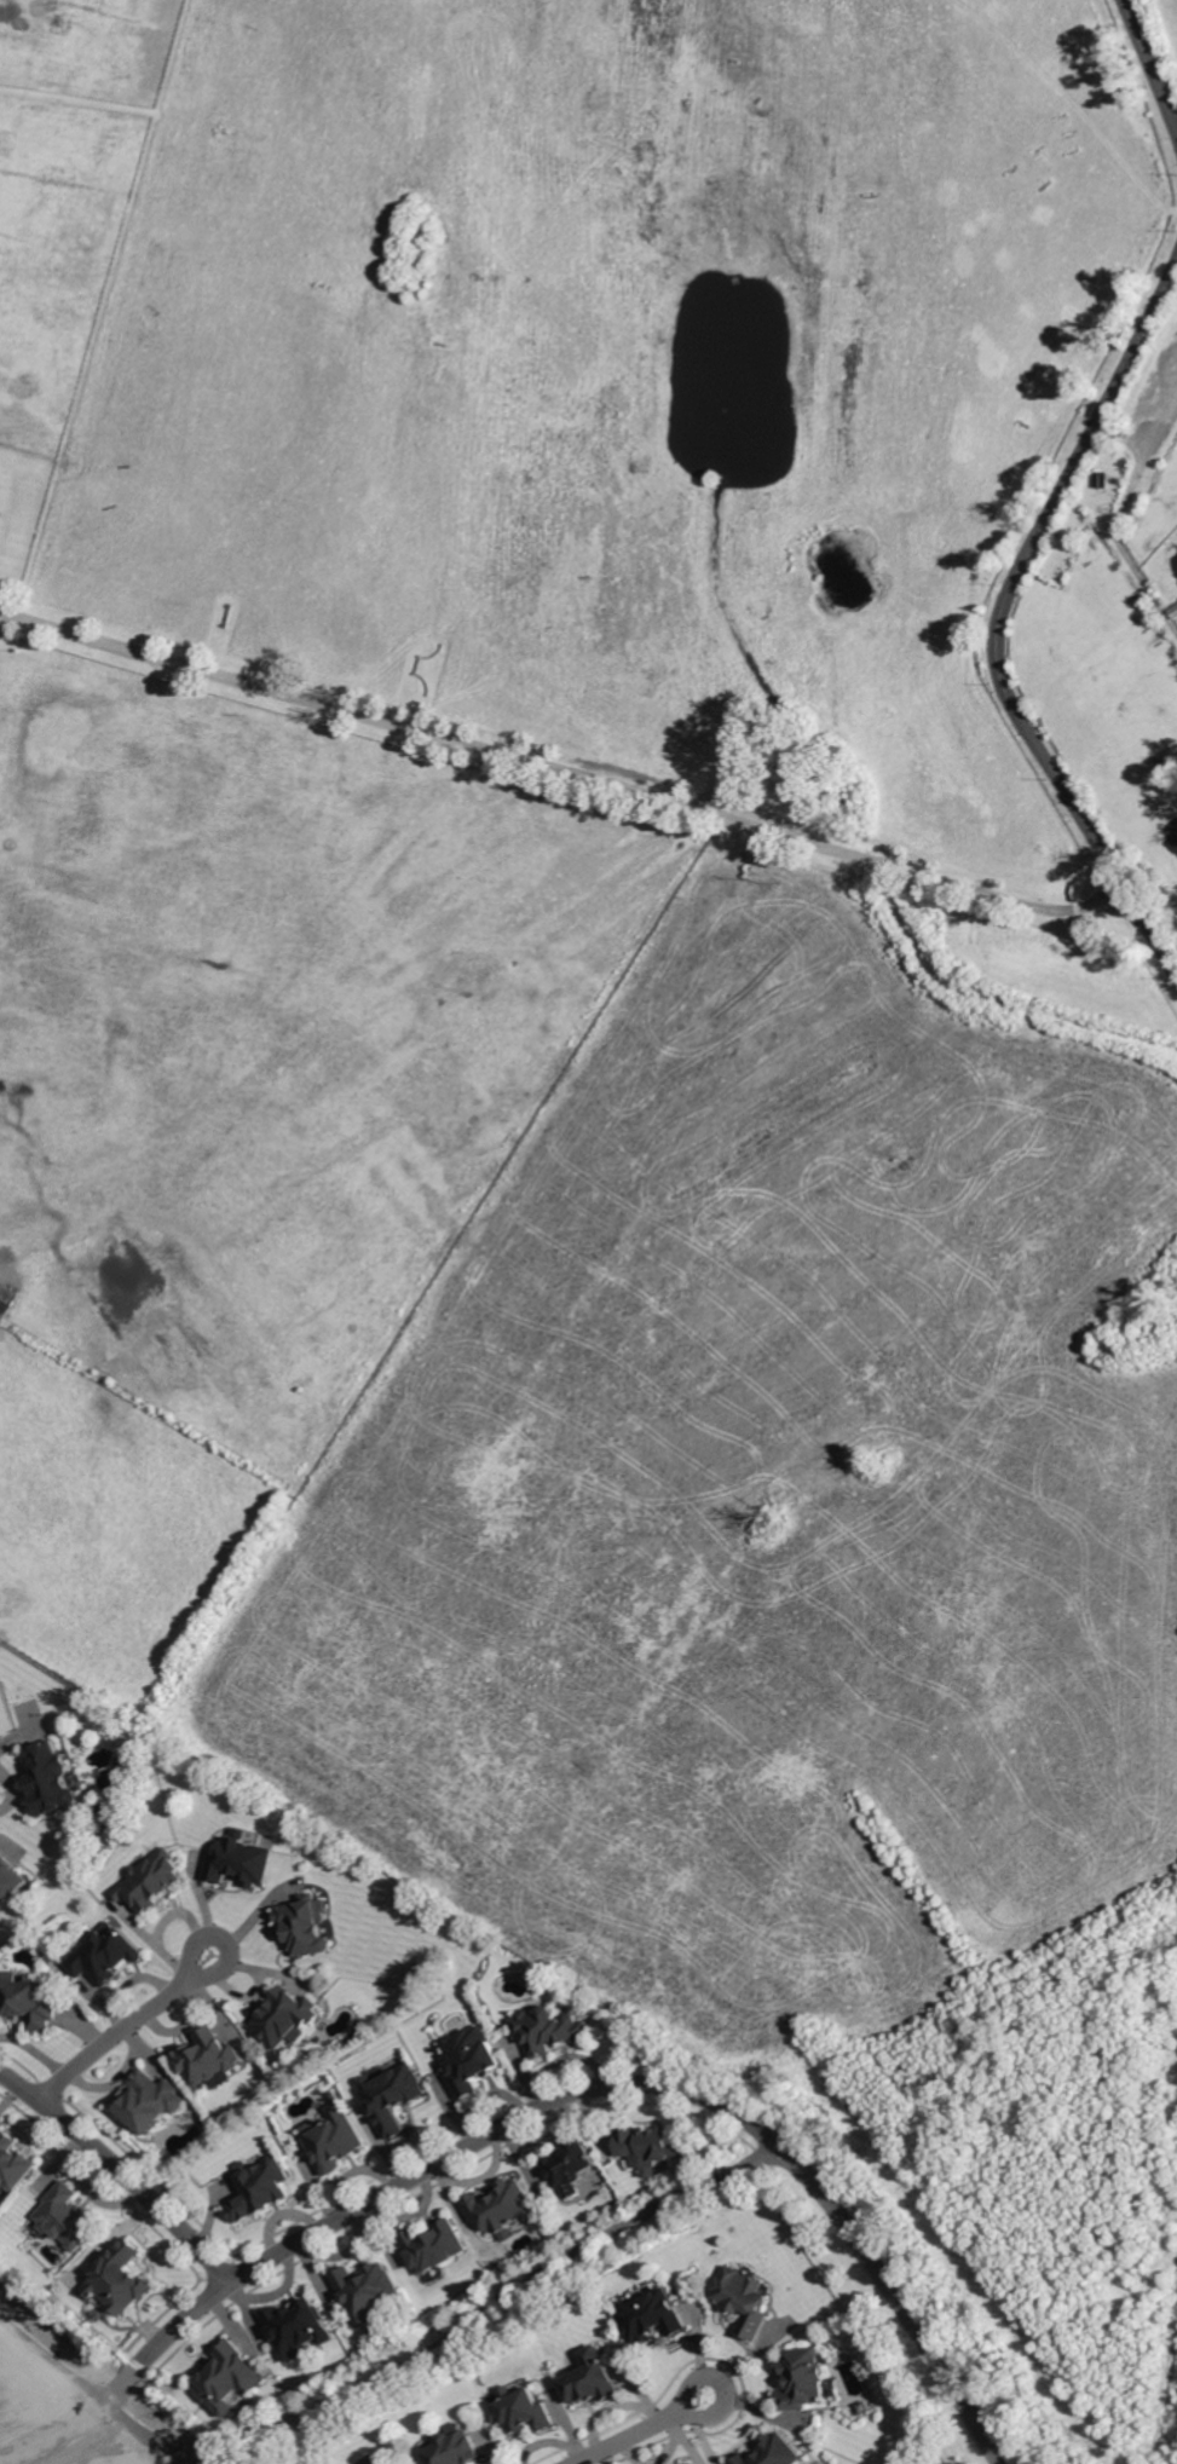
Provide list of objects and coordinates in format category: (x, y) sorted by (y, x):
road: (1152, 64)
building: (1102, 481)
building: (1173, 613)
road: (1000, 623)
building: (1167, 767)
road: (562, 769)
building: (6, 1298)
building: (122, 1764)
building: (48, 1779)
building: (240, 1862)
building: (8, 1883)
building: (150, 1883)
building: (304, 1927)
building: (104, 1956)
building: (25, 2002)
road: (140, 2019)
building: (284, 2019)
building: (548, 2031)
building: (207, 2061)
building: (469, 2061)
road: (630, 2079)
building: (392, 2097)
building: (149, 2102)
building: (331, 2142)
building: (652, 2147)
building: (12, 2164)
road: (120, 2165)
building: (570, 2165)
building: (258, 2189)
building: (501, 2209)
building: (64, 2218)
building: (433, 2247)
building: (117, 2280)
building: (365, 2291)
building: (743, 2301)
building: (652, 2318)
building: (296, 2330)
building: (226, 2379)
building: (592, 2379)
building: (803, 2379)
road: (79, 2411)
building: (521, 2411)
road: (659, 2427)
building: (454, 2447)
building: (773, 2452)
building: (383, 2459)
building: (369, 2463)

